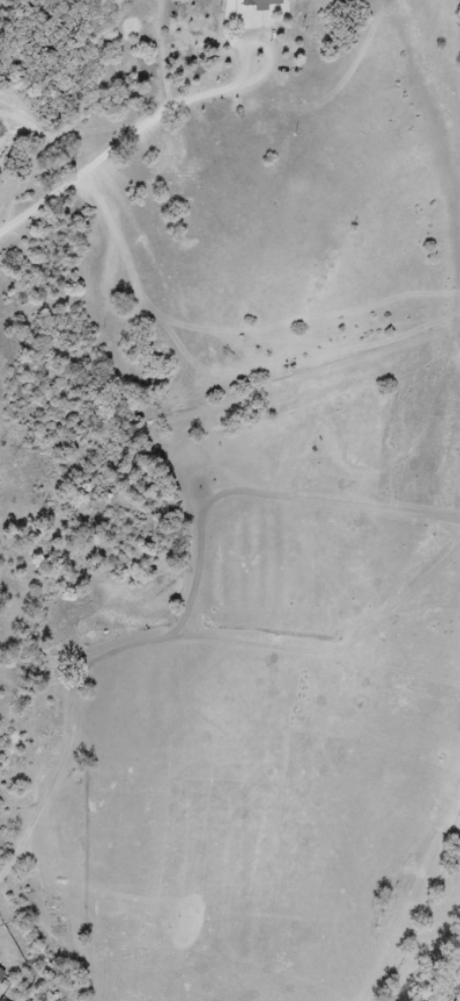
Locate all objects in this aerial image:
building: (263, 4)
road: (81, 175)
building: (2, 975)

